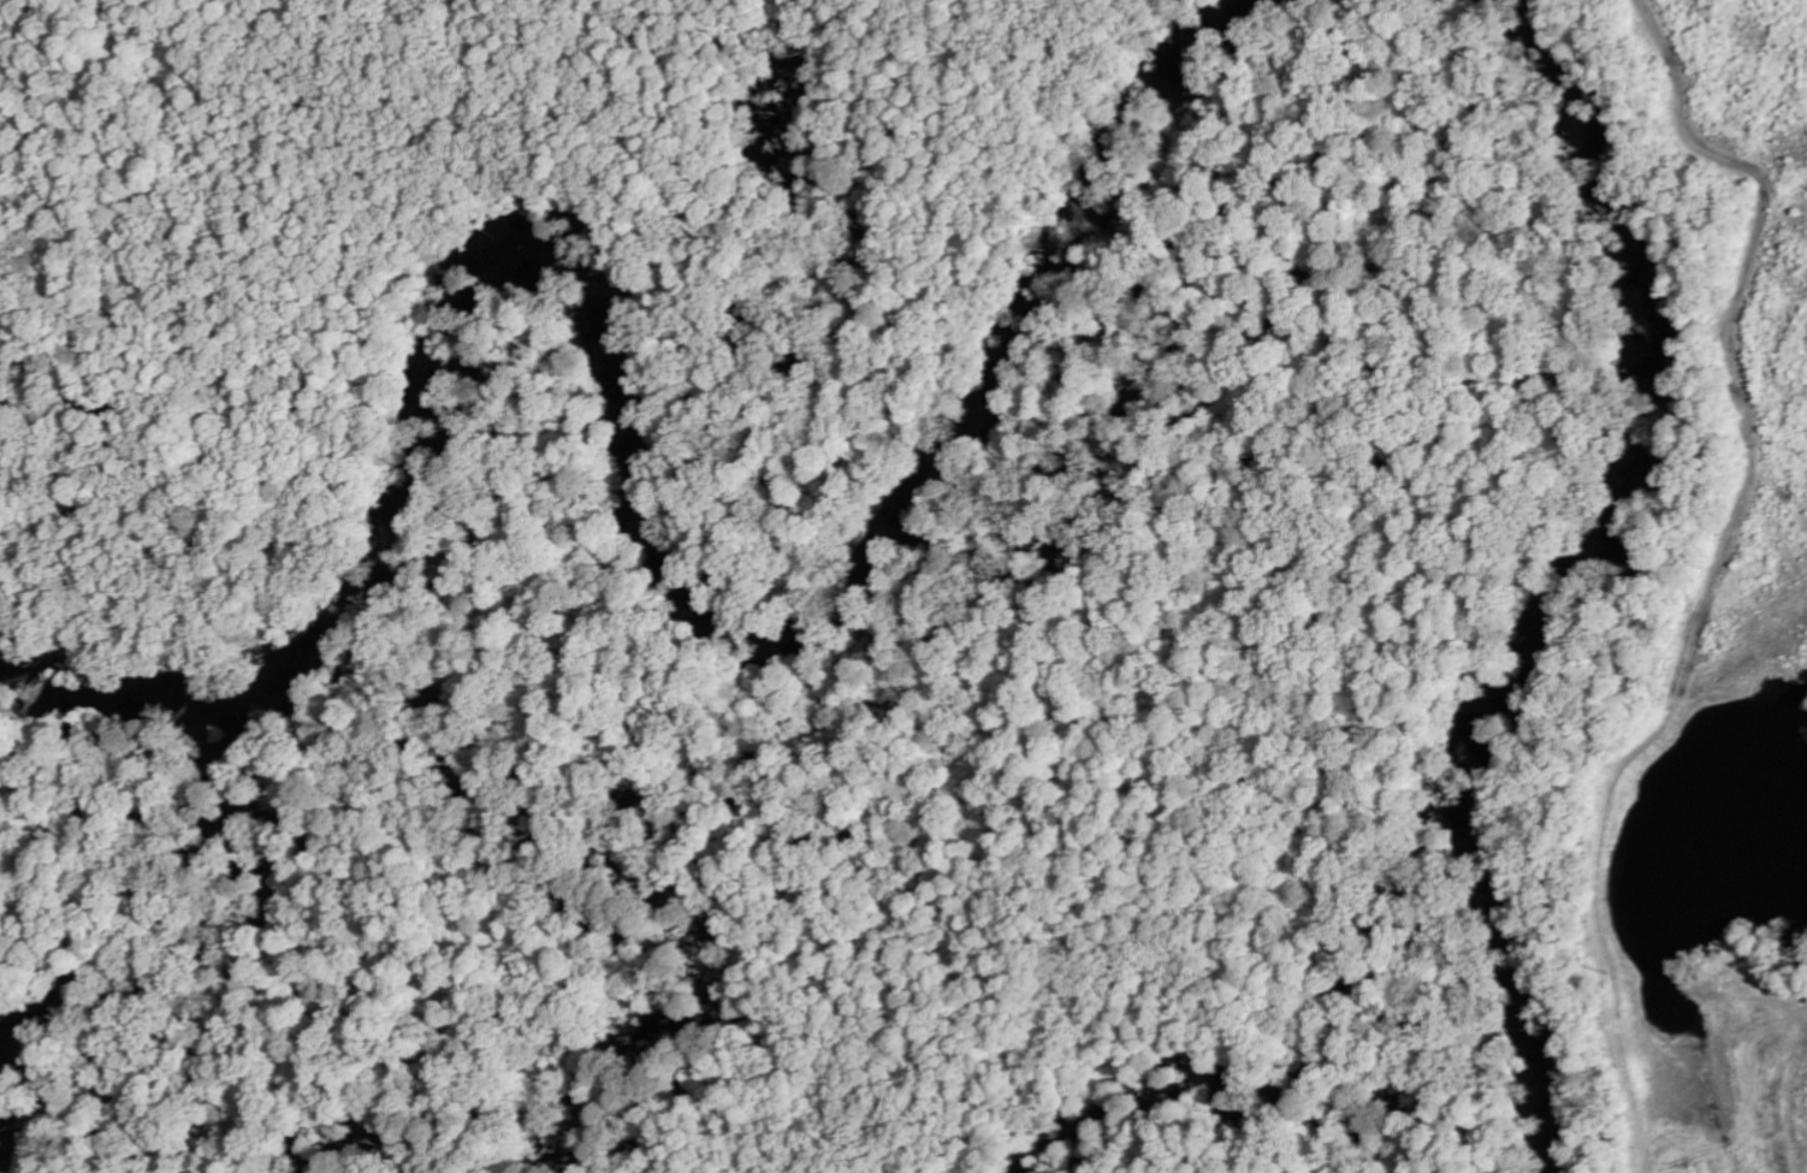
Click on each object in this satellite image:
river: (636, 437)
river: (1581, 581)

